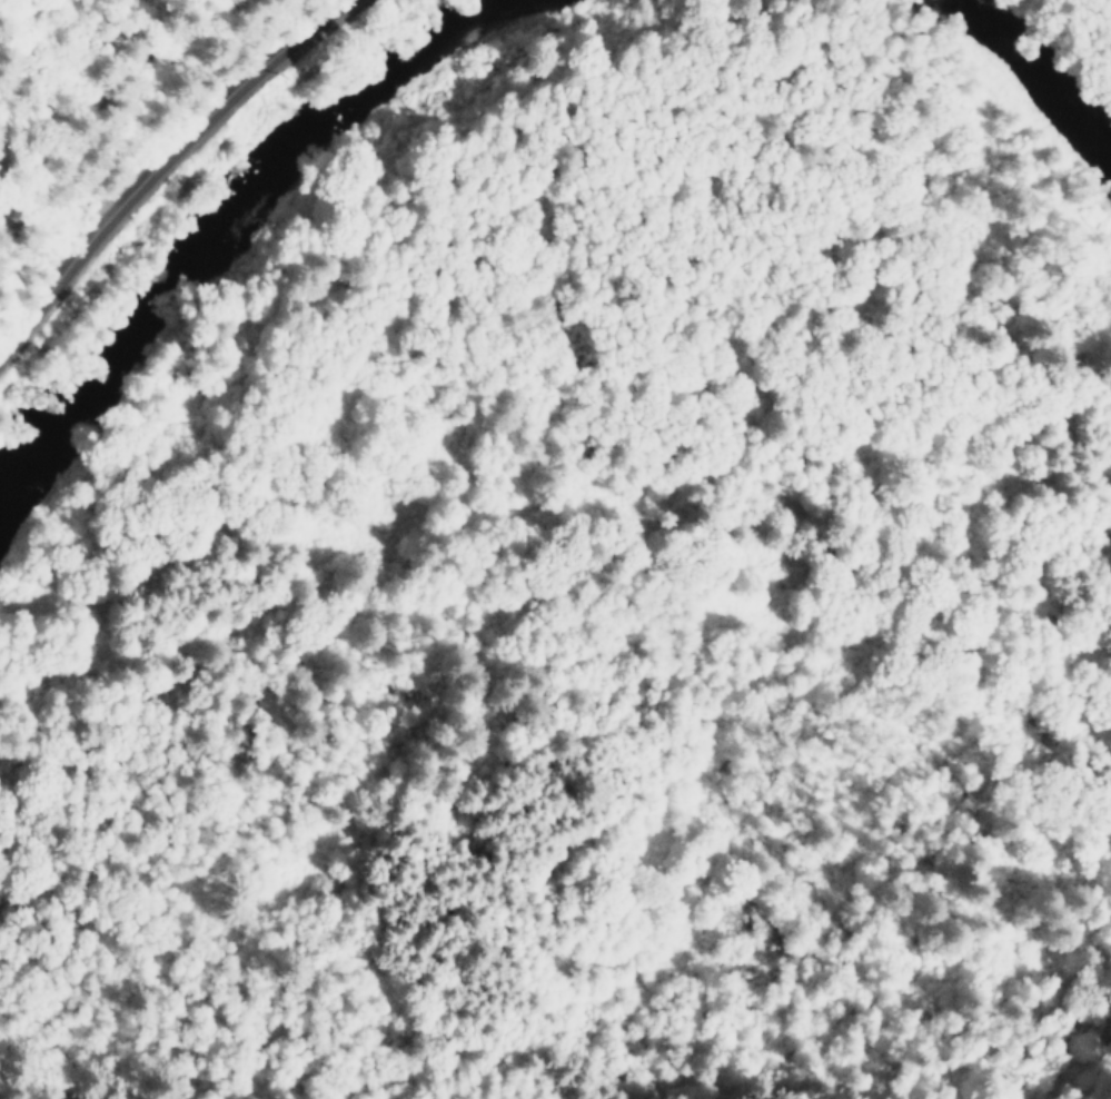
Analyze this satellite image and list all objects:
river: (1028, 60)
road: (157, 166)
river: (207, 217)

